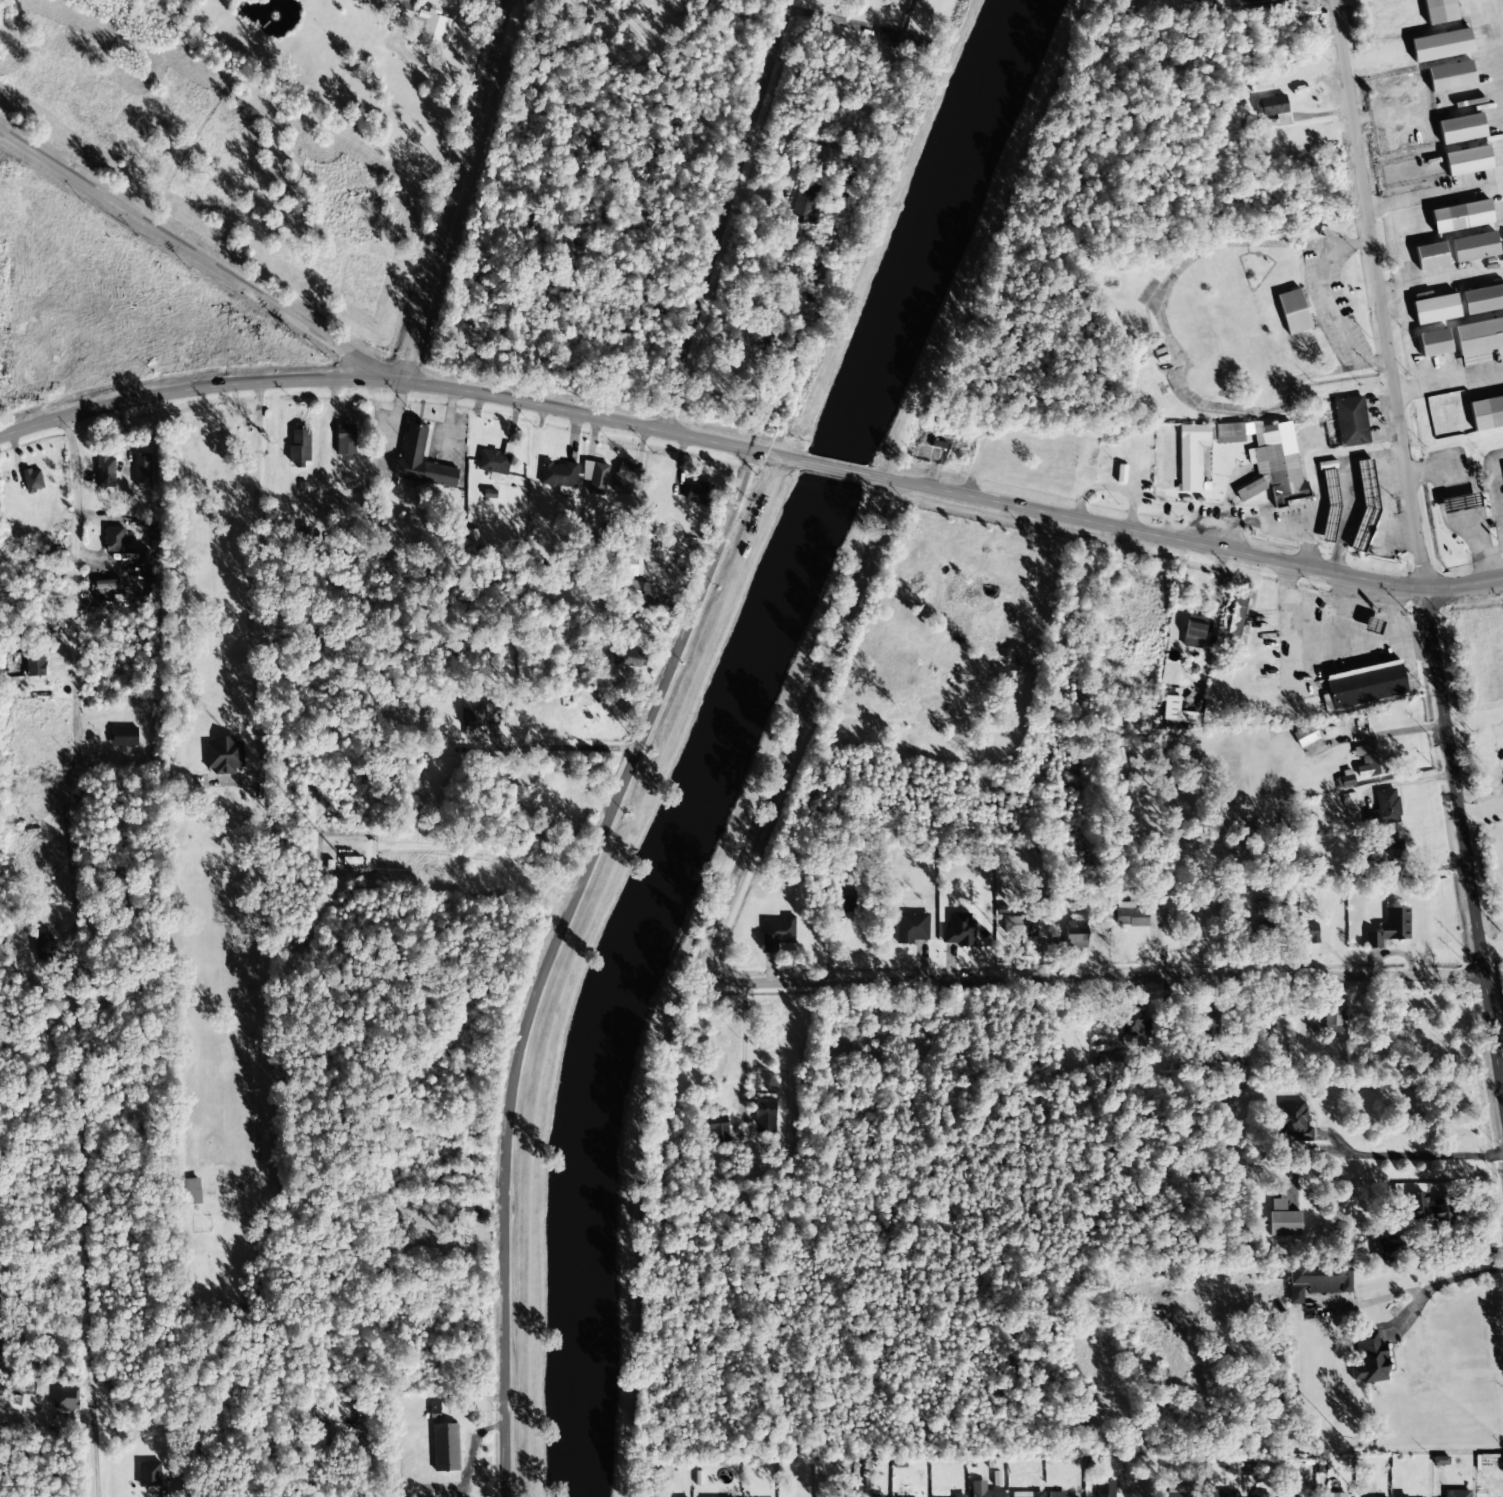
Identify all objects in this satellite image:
building: (1272, 0)
building: (403, 9)
building: (1438, 11)
building: (432, 28)
road: (1499, 32)
building: (1441, 45)
building: (1450, 76)
building: (1259, 85)
building: (1274, 108)
building: (1461, 128)
building: (1467, 161)
road: (452, 192)
road: (1435, 194)
building: (805, 201)
road: (726, 215)
building: (1460, 216)
building: (1474, 247)
building: (1430, 256)
road: (197, 257)
road: (1441, 279)
road: (1380, 294)
building: (1482, 299)
building: (1435, 309)
building: (1293, 312)
building: (1479, 336)
building: (1434, 343)
building: (770, 344)
road: (1449, 383)
road: (402, 384)
building: (1493, 408)
building: (1350, 422)
building: (1229, 433)
building: (345, 442)
building: (299, 447)
building: (1191, 455)
building: (420, 462)
building: (493, 464)
building: (1274, 466)
building: (142, 470)
road: (832, 470)
building: (105, 472)
building: (557, 474)
building: (626, 478)
building: (597, 479)
building: (32, 480)
building: (699, 493)
building: (1330, 496)
building: (1473, 497)
gas station: (1473, 497)
building: (1458, 503)
building: (1365, 506)
building: (113, 539)
road: (1181, 542)
building: (631, 565)
building: (106, 584)
building: (636, 591)
building: (1237, 614)
building: (1194, 632)
building: (634, 656)
building: (35, 664)
building: (1363, 686)
building: (1176, 713)
building: (472, 714)
building: (936, 715)
road: (1474, 718)
road: (1500, 725)
road: (111, 736)
building: (123, 736)
building: (1305, 736)
building: (223, 755)
road: (440, 756)
building: (1370, 760)
building: (1343, 782)
building: (1383, 809)
road: (1481, 811)
road: (1463, 840)
road: (460, 848)
building: (1384, 850)
building: (847, 903)
building: (1260, 907)
building: (1137, 916)
building: (1018, 926)
building: (911, 928)
building: (1390, 928)
building: (959, 929)
building: (1308, 930)
building: (1258, 931)
building: (777, 933)
road: (1492, 950)
road: (552, 959)
road: (835, 981)
building: (1207, 1020)
building: (1333, 1020)
building: (1135, 1026)
building: (1227, 1054)
building: (765, 1115)
building: (1292, 1117)
building: (717, 1129)
building: (191, 1191)
building: (468, 1211)
building: (1431, 1211)
building: (1283, 1220)
building: (1386, 1247)
building: (1273, 1274)
building: (1316, 1282)
building: (1369, 1359)
building: (65, 1398)
building: (433, 1406)
building: (445, 1447)
building: (149, 1475)
road: (1144, 1483)
building: (1104, 1489)
building: (983, 1490)
building: (1178, 1491)
building: (1456, 1493)
building: (1026, 1494)
building: (1056, 1494)
building: (1224, 1494)
building: (958, 1495)
building: (1333, 1495)
building: (1400, 1495)
building: (1260, 1496)

